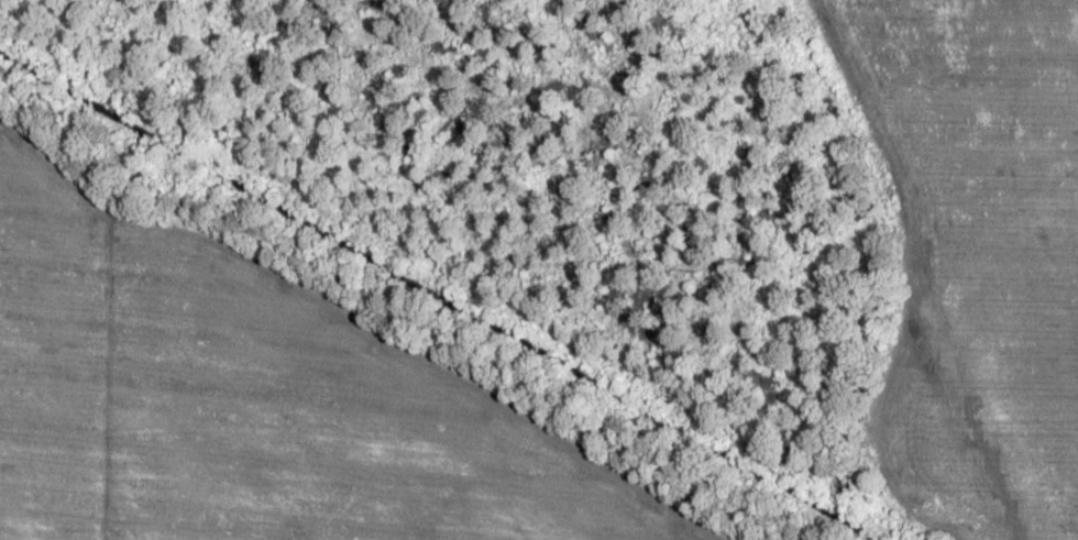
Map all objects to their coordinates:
road: (928, 264)

